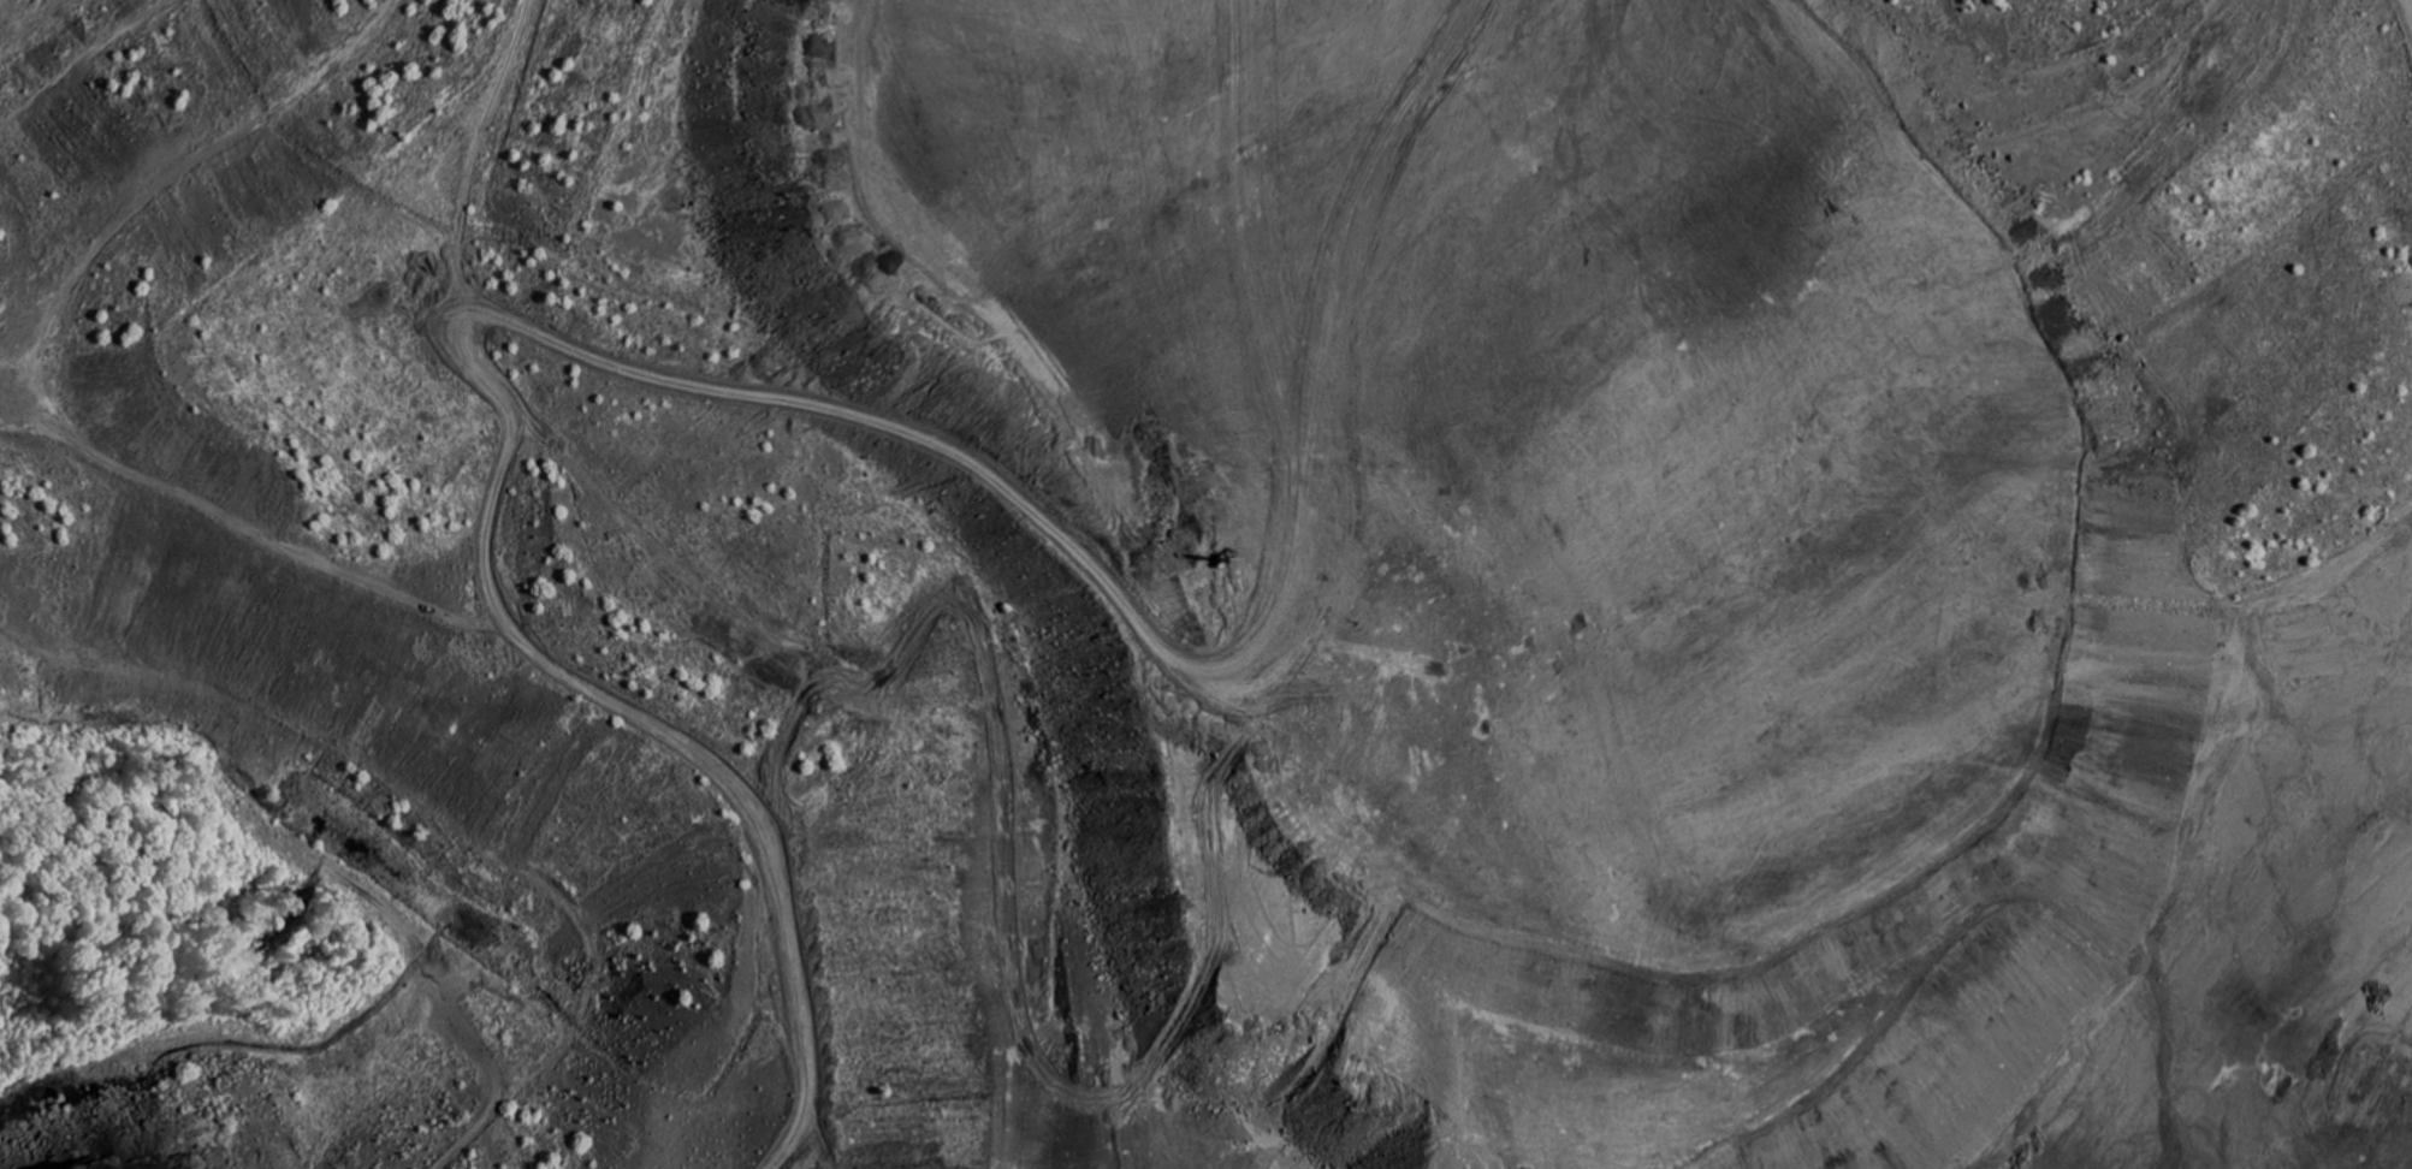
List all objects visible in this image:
quarry: (1205, 584)

